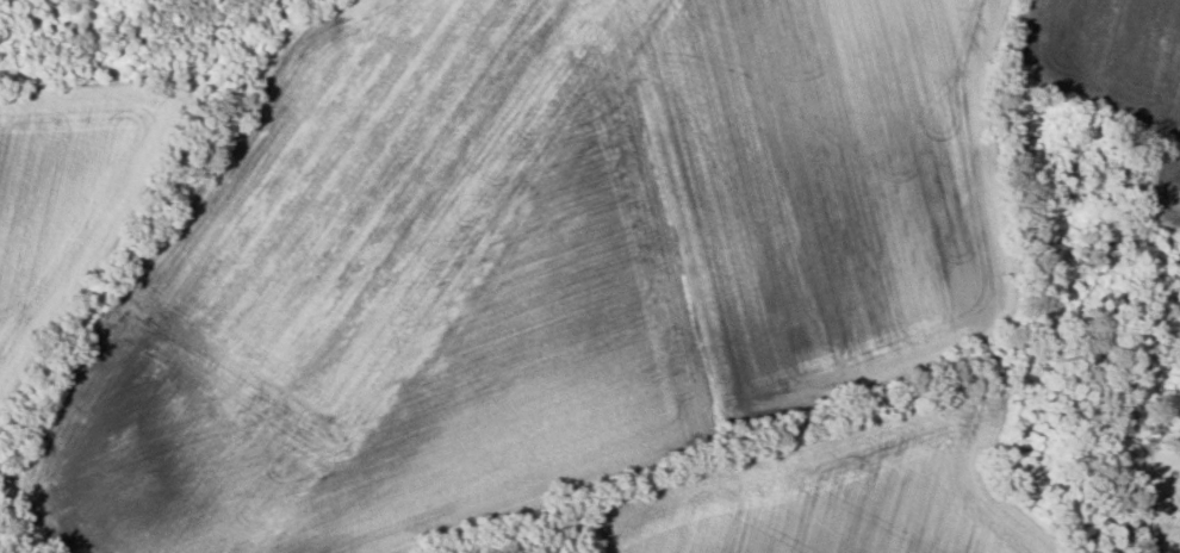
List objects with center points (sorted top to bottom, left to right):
building: (1179, 490)

